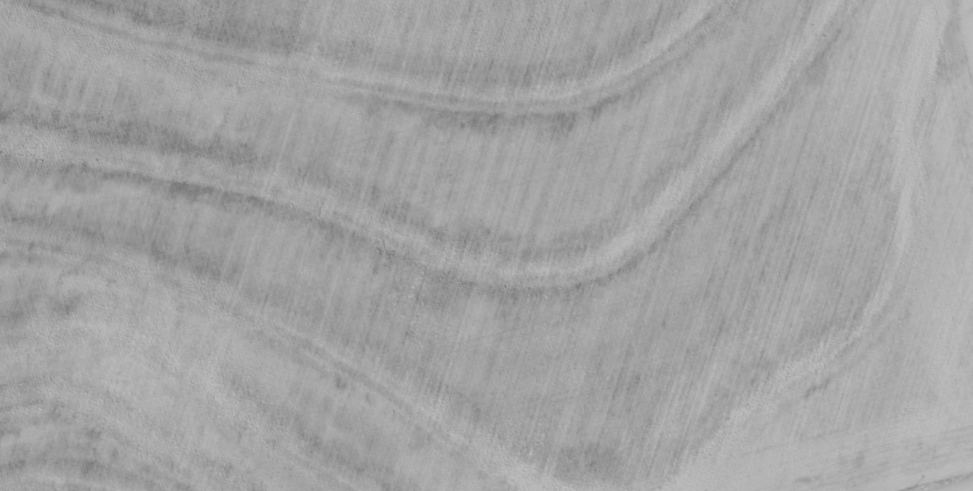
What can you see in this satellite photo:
road: (960, 487)

